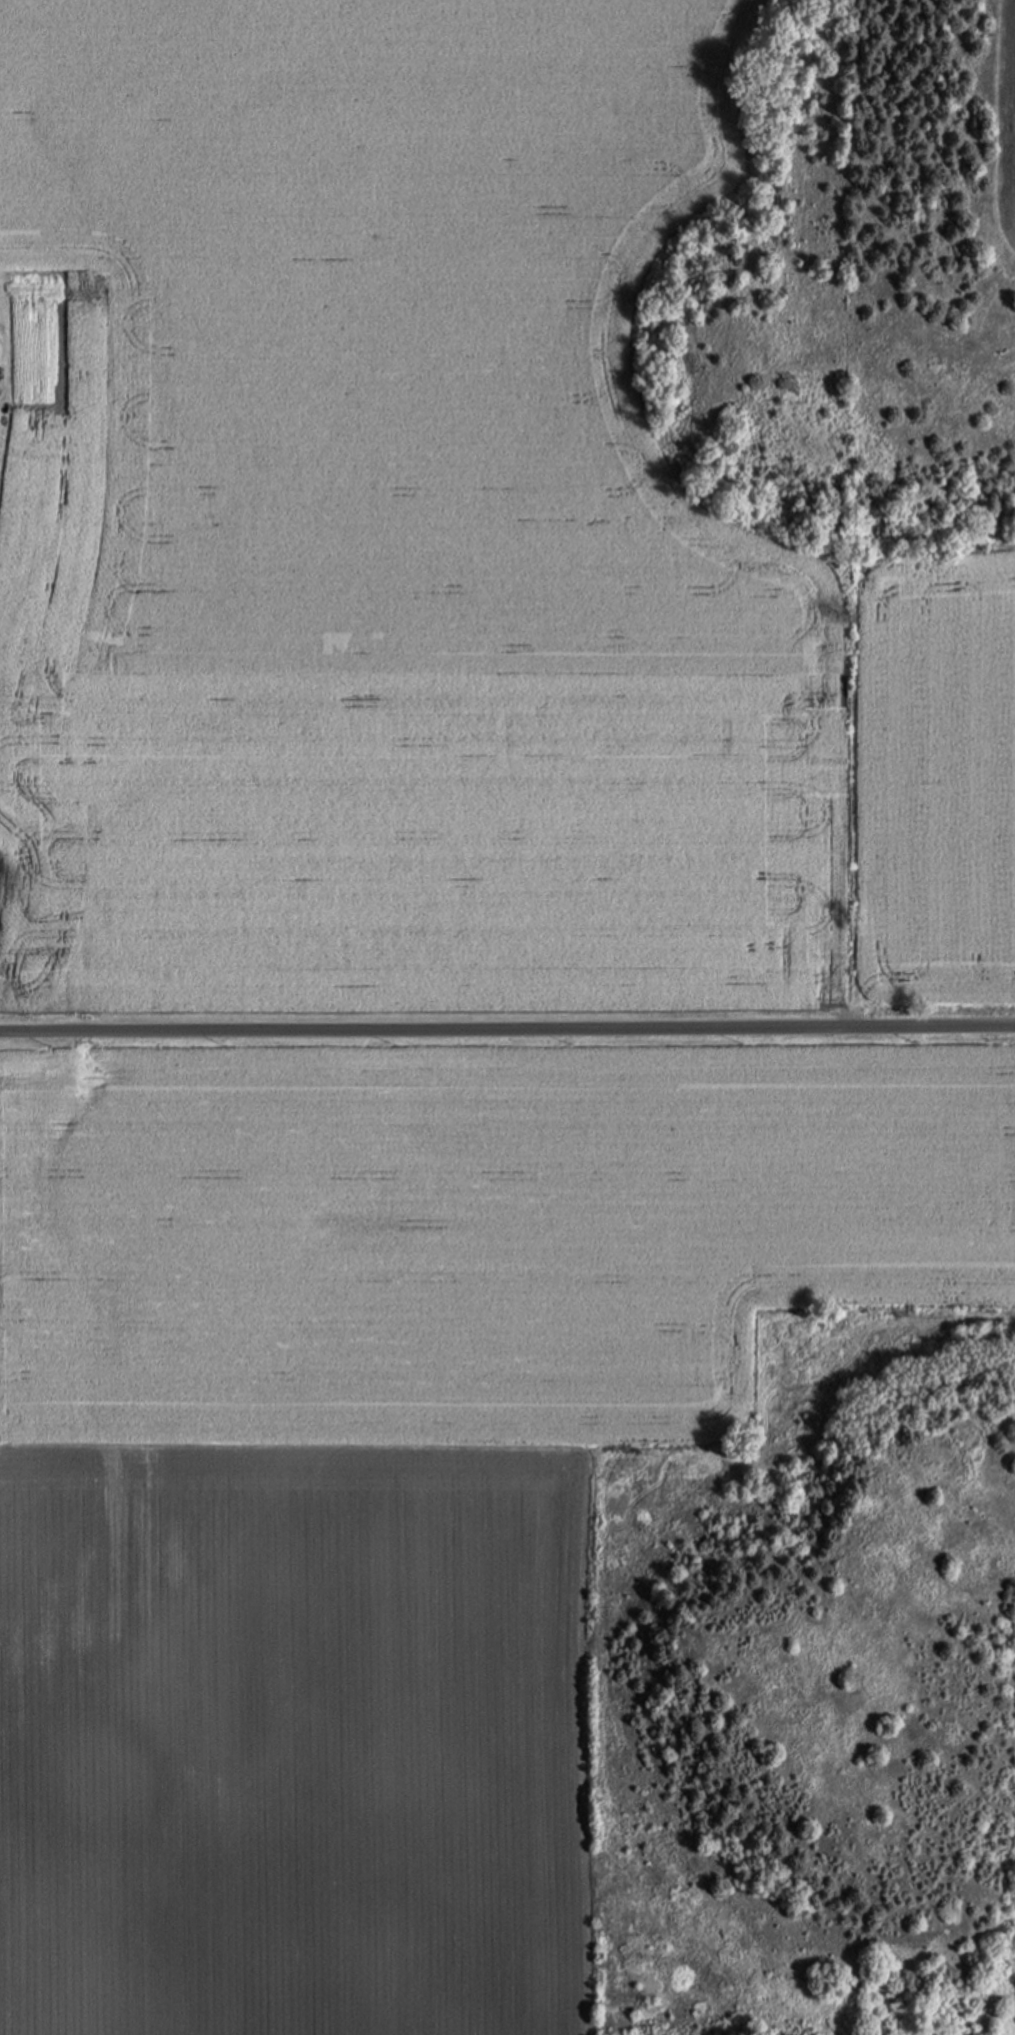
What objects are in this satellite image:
road: (507, 1028)

